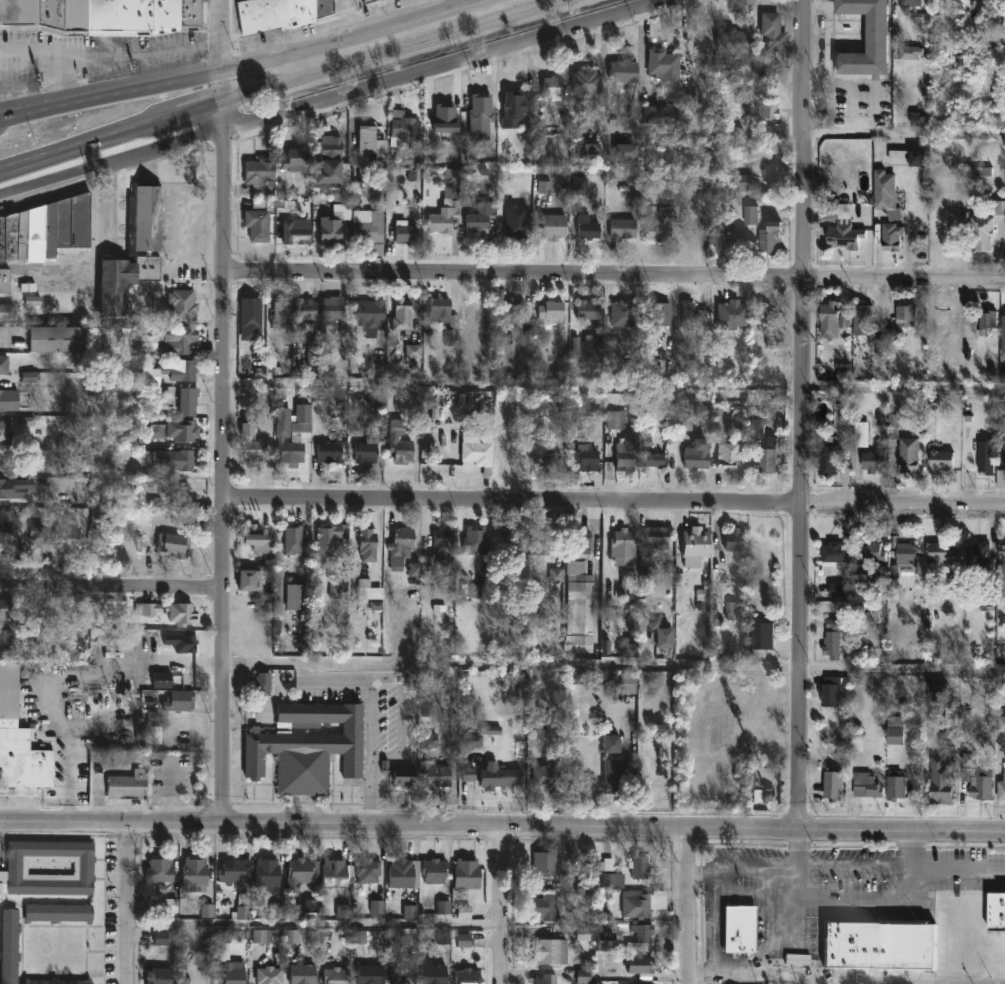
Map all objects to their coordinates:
building: (368, 1)
building: (911, 2)
building: (278, 13)
building: (100, 16)
building: (774, 31)
building: (868, 39)
building: (732, 40)
building: (910, 49)
road: (112, 55)
road: (644, 56)
building: (664, 65)
road: (451, 67)
road: (244, 68)
building: (623, 73)
building: (586, 81)
road: (274, 83)
road: (63, 84)
building: (552, 85)
building: (513, 108)
building: (480, 109)
building: (768, 109)
building: (655, 114)
building: (444, 119)
building: (404, 126)
road: (905, 140)
building: (370, 143)
building: (588, 151)
building: (626, 151)
building: (909, 156)
building: (294, 159)
building: (328, 160)
building: (259, 173)
building: (740, 182)
building: (650, 183)
building: (885, 196)
building: (1000, 209)
building: (750, 216)
building: (443, 217)
building: (480, 219)
building: (257, 222)
building: (657, 224)
building: (553, 227)
building: (584, 227)
building: (516, 228)
building: (623, 228)
building: (45, 230)
building: (329, 230)
building: (369, 230)
building: (404, 233)
building: (982, 233)
road: (193, 234)
building: (295, 234)
building: (845, 234)
building: (770, 237)
building: (893, 237)
building: (133, 252)
road: (616, 277)
building: (3, 280)
building: (182, 305)
building: (306, 308)
building: (331, 310)
building: (551, 310)
building: (588, 310)
building: (7, 312)
building: (251, 312)
building: (512, 312)
building: (623, 313)
building: (280, 314)
building: (401, 314)
building: (659, 314)
building: (830, 314)
building: (732, 315)
building: (368, 316)
building: (762, 316)
building: (906, 317)
building: (443, 318)
building: (695, 319)
building: (863, 319)
building: (988, 320)
building: (945, 321)
building: (177, 337)
building: (55, 340)
building: (314, 351)
building: (3, 365)
building: (937, 367)
building: (170, 372)
road: (616, 388)
building: (9, 401)
building: (187, 401)
building: (585, 403)
building: (521, 411)
road: (228, 412)
road: (803, 414)
building: (1002, 417)
building: (841, 419)
building: (292, 432)
building: (4, 433)
building: (247, 438)
building: (907, 439)
building: (400, 441)
building: (180, 449)
building: (367, 449)
building: (331, 450)
building: (509, 451)
building: (477, 452)
building: (626, 452)
building: (697, 455)
building: (548, 456)
building: (728, 457)
building: (829, 457)
building: (587, 458)
building: (768, 458)
building: (874, 459)
building: (658, 460)
building: (941, 460)
building: (1003, 460)
building: (986, 462)
building: (3, 490)
road: (616, 503)
building: (5, 520)
building: (41, 530)
building: (658, 538)
building: (293, 539)
building: (258, 540)
building: (735, 540)
building: (475, 541)
building: (543, 541)
building: (326, 542)
building: (442, 542)
building: (580, 544)
building: (367, 545)
building: (173, 546)
building: (695, 547)
building: (399, 548)
building: (624, 548)
building: (9, 551)
building: (873, 551)
building: (836, 553)
building: (907, 553)
building: (942, 553)
building: (1003, 554)
building: (978, 555)
building: (515, 566)
building: (247, 581)
building: (635, 583)
road: (114, 585)
building: (296, 596)
building: (580, 605)
building: (6, 609)
building: (169, 612)
building: (761, 637)
building: (664, 638)
building: (833, 639)
building: (6, 642)
building: (180, 643)
building: (627, 647)
road: (617, 669)
building: (164, 680)
building: (261, 683)
building: (630, 684)
building: (832, 689)
building: (938, 693)
building: (179, 701)
building: (952, 723)
building: (1002, 724)
road: (401, 726)
building: (895, 728)
building: (19, 743)
building: (611, 744)
building: (305, 746)
road: (371, 746)
building: (613, 768)
building: (399, 774)
building: (434, 774)
building: (978, 775)
building: (500, 777)
building: (548, 777)
building: (468, 778)
building: (944, 778)
building: (834, 783)
building: (868, 783)
building: (896, 784)
building: (128, 785)
building: (1001, 789)
road: (502, 828)
road: (796, 852)
road: (912, 852)
building: (545, 861)
building: (17, 866)
building: (641, 867)
building: (160, 870)
building: (302, 870)
building: (370, 870)
building: (434, 870)
building: (237, 871)
building: (194, 873)
building: (338, 873)
building: (403, 873)
building: (469, 873)
building: (269, 874)
road: (846, 874)
building: (613, 882)
building: (636, 903)
road: (127, 905)
road: (501, 905)
building: (244, 906)
road: (687, 906)
building: (547, 907)
building: (58, 913)
road: (314, 924)
road: (719, 924)
building: (744, 928)
building: (643, 937)
building: (155, 938)
building: (877, 944)
building: (9, 946)
building: (551, 951)
road: (776, 955)
building: (230, 957)
building: (640, 964)
building: (435, 973)
building: (305, 974)
building: (370, 974)
building: (270, 975)
building: (162, 976)
building: (338, 976)
building: (404, 976)
building: (471, 976)
building: (545, 979)
building: (57, 981)

